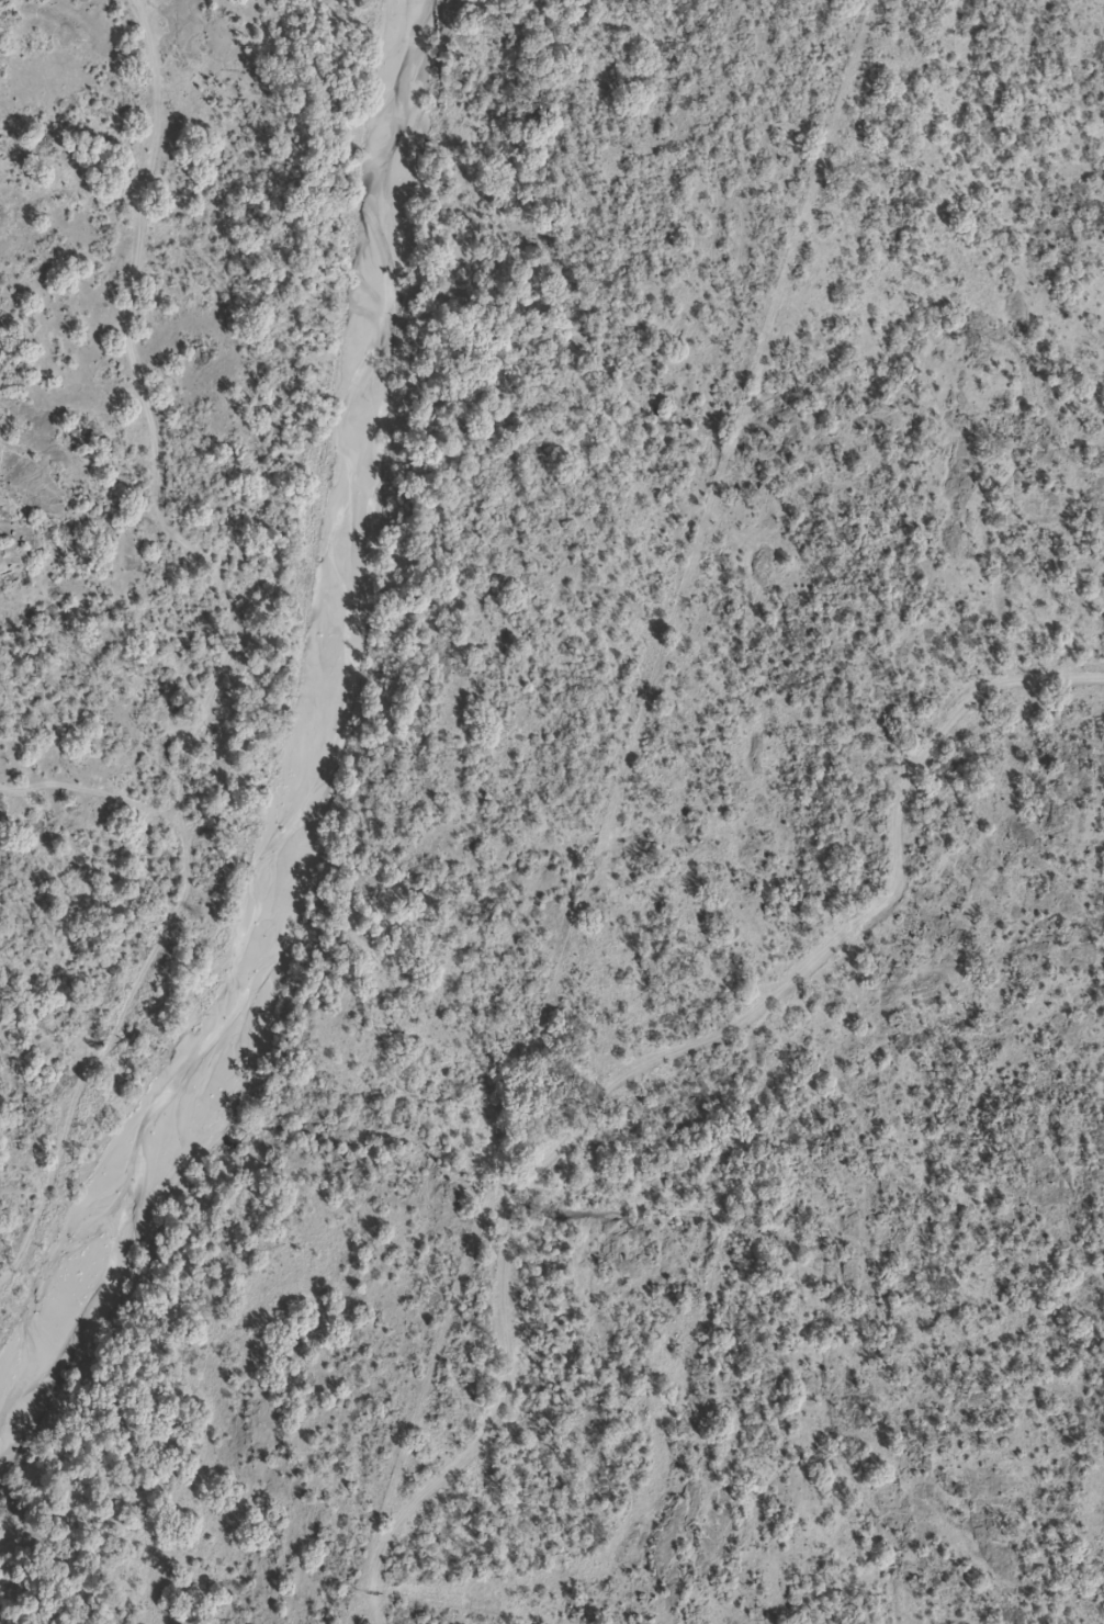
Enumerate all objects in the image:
river: (305, 744)
road: (5, 1272)

